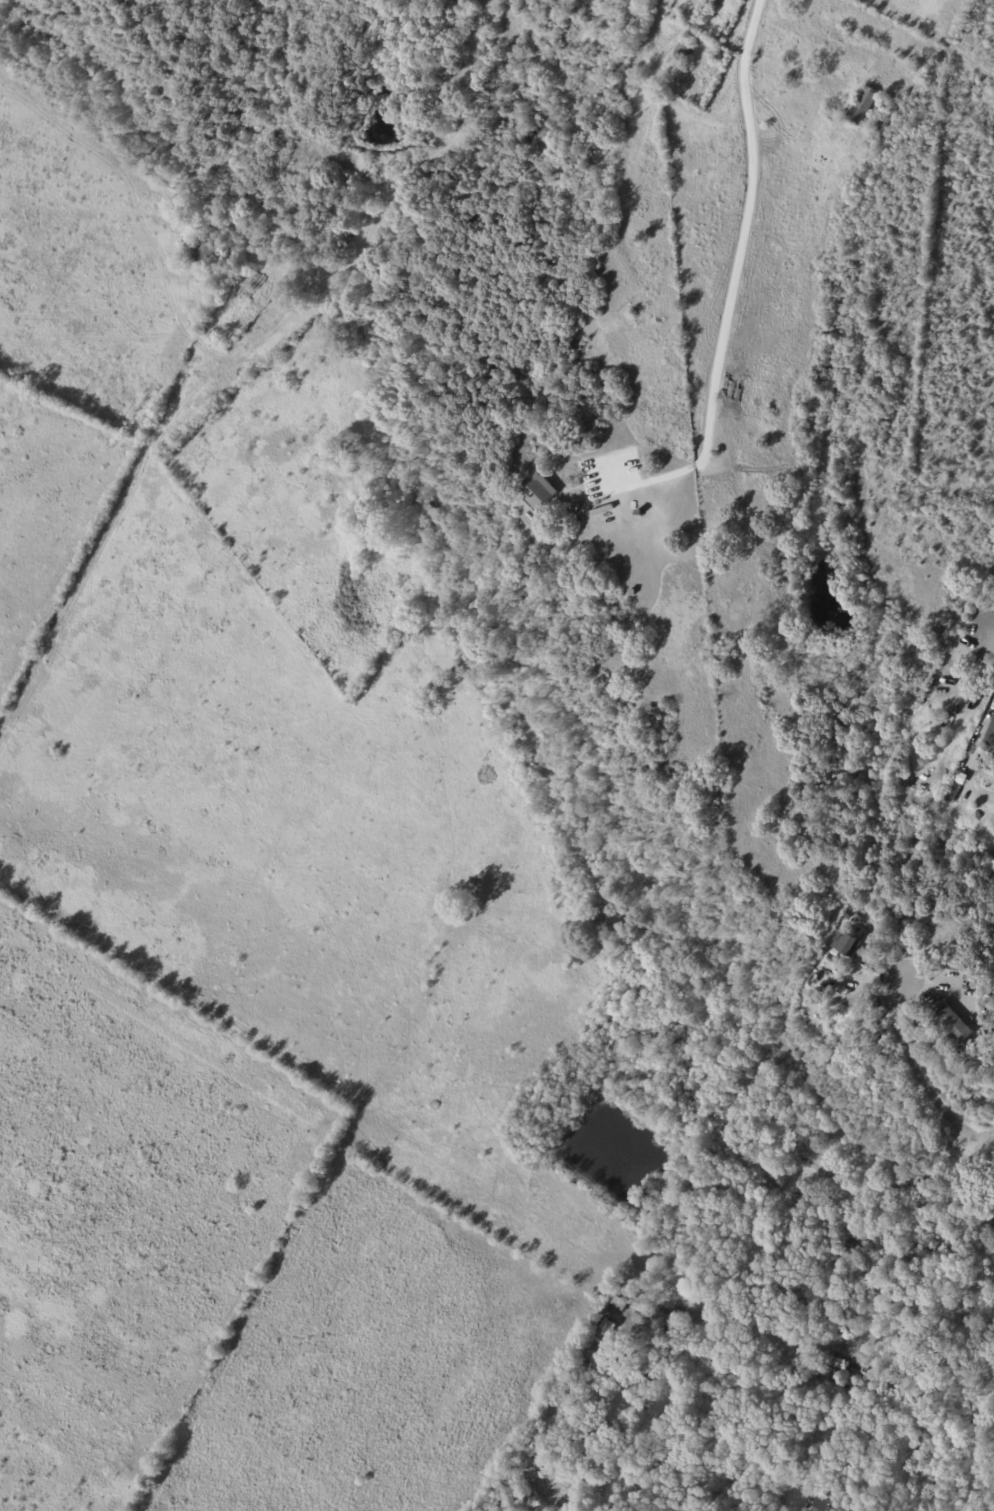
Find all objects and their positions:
building: (686, 51)
building: (863, 107)
building: (205, 255)
road: (737, 265)
building: (538, 491)
building: (639, 511)
building: (993, 573)
building: (632, 592)
park: (410, 631)
road: (993, 633)
building: (602, 660)
building: (650, 708)
building: (990, 734)
building: (953, 790)
building: (848, 943)
building: (835, 952)
building: (833, 959)
building: (954, 1025)
building: (987, 1048)
road: (920, 1064)
road: (756, 1153)
road: (897, 1178)
road: (745, 1250)
road: (795, 1399)
road: (643, 1417)

